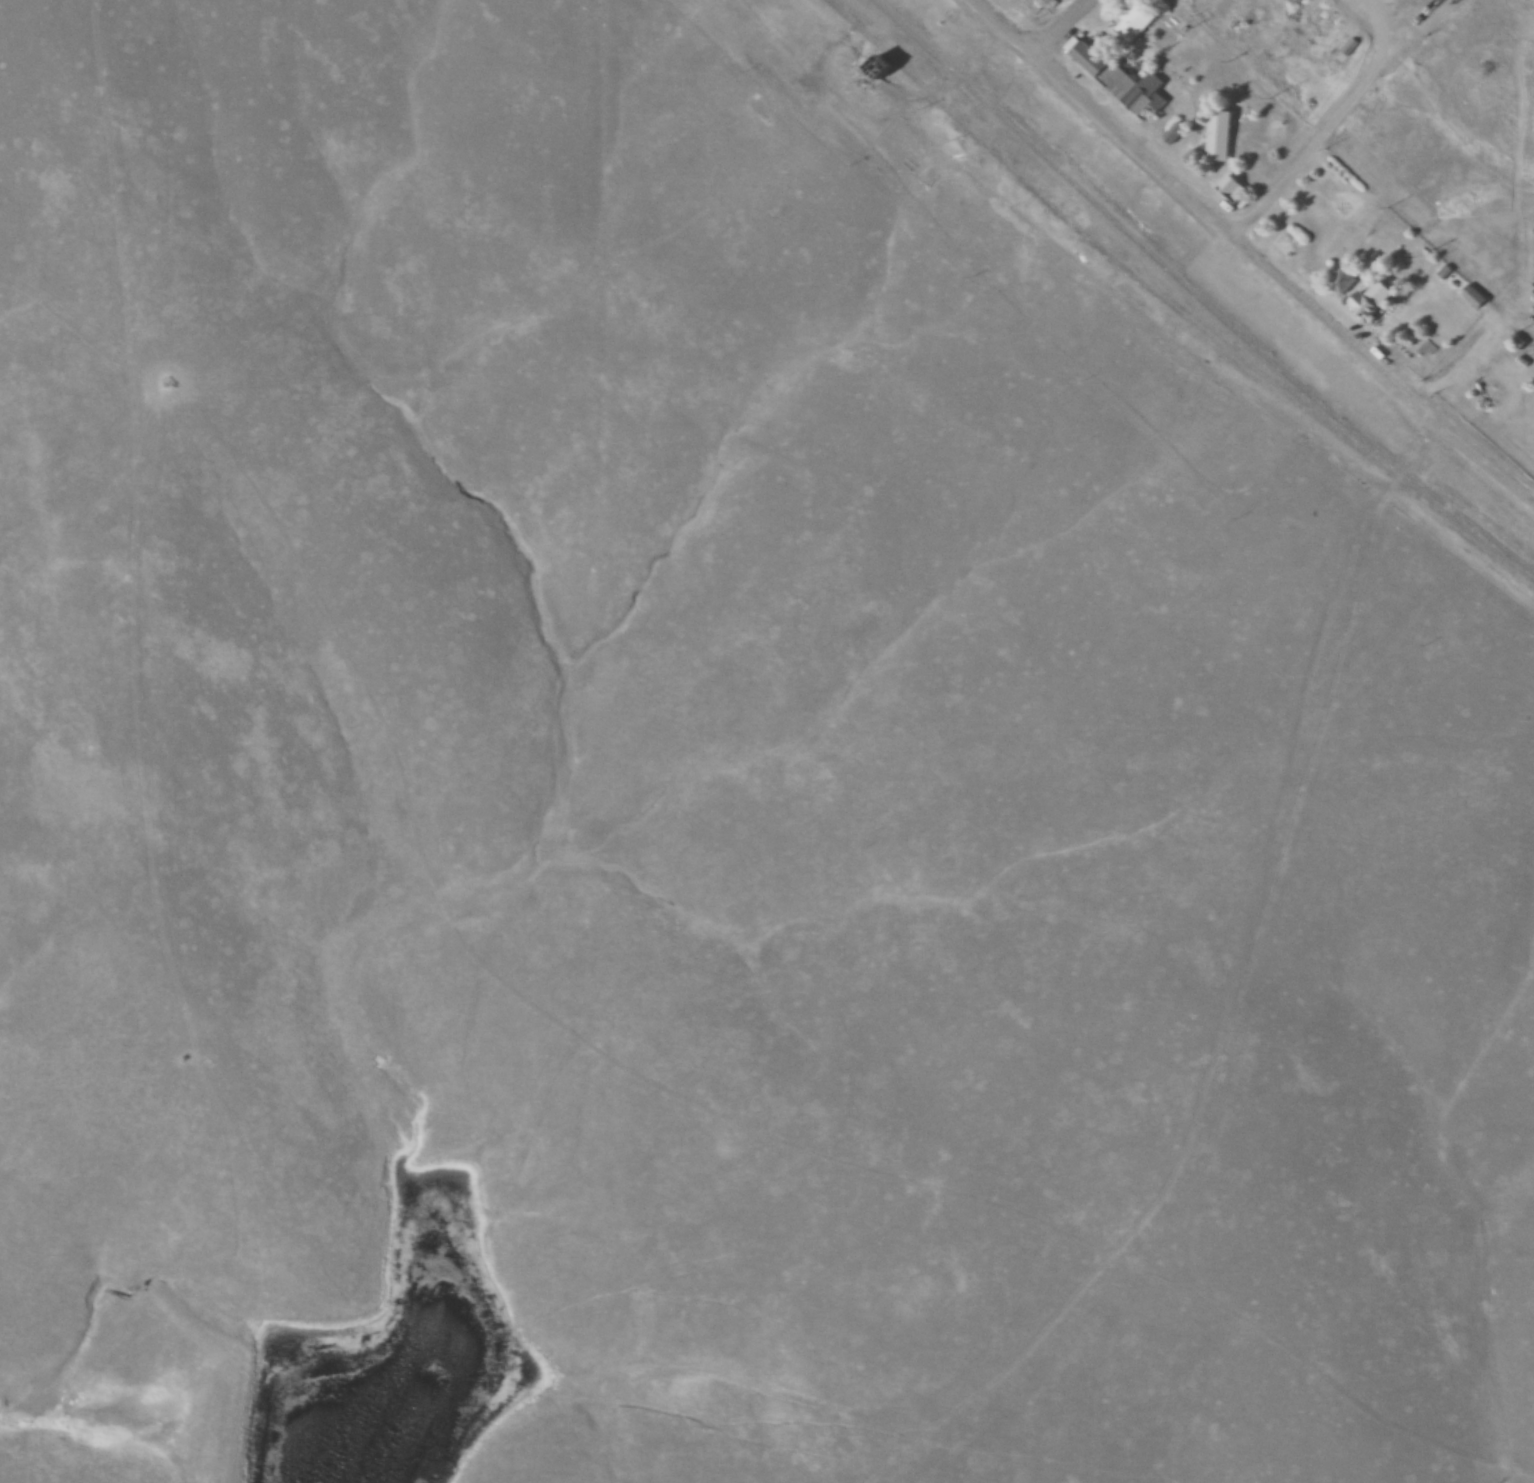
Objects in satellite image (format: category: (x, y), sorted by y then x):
building: (1297, 2)
building: (1321, 19)
building: (1137, 21)
road: (1070, 32)
building: (1347, 43)
building: (1120, 79)
road: (1336, 129)
building: (1175, 133)
building: (1217, 136)
building: (1196, 159)
building: (1230, 187)
railway: (1038, 197)
building: (1287, 243)
road: (1251, 255)
building: (1442, 273)
building: (1344, 278)
building: (1472, 298)
railway: (1189, 299)
building: (1373, 299)
building: (1516, 345)
railway: (1121, 352)

